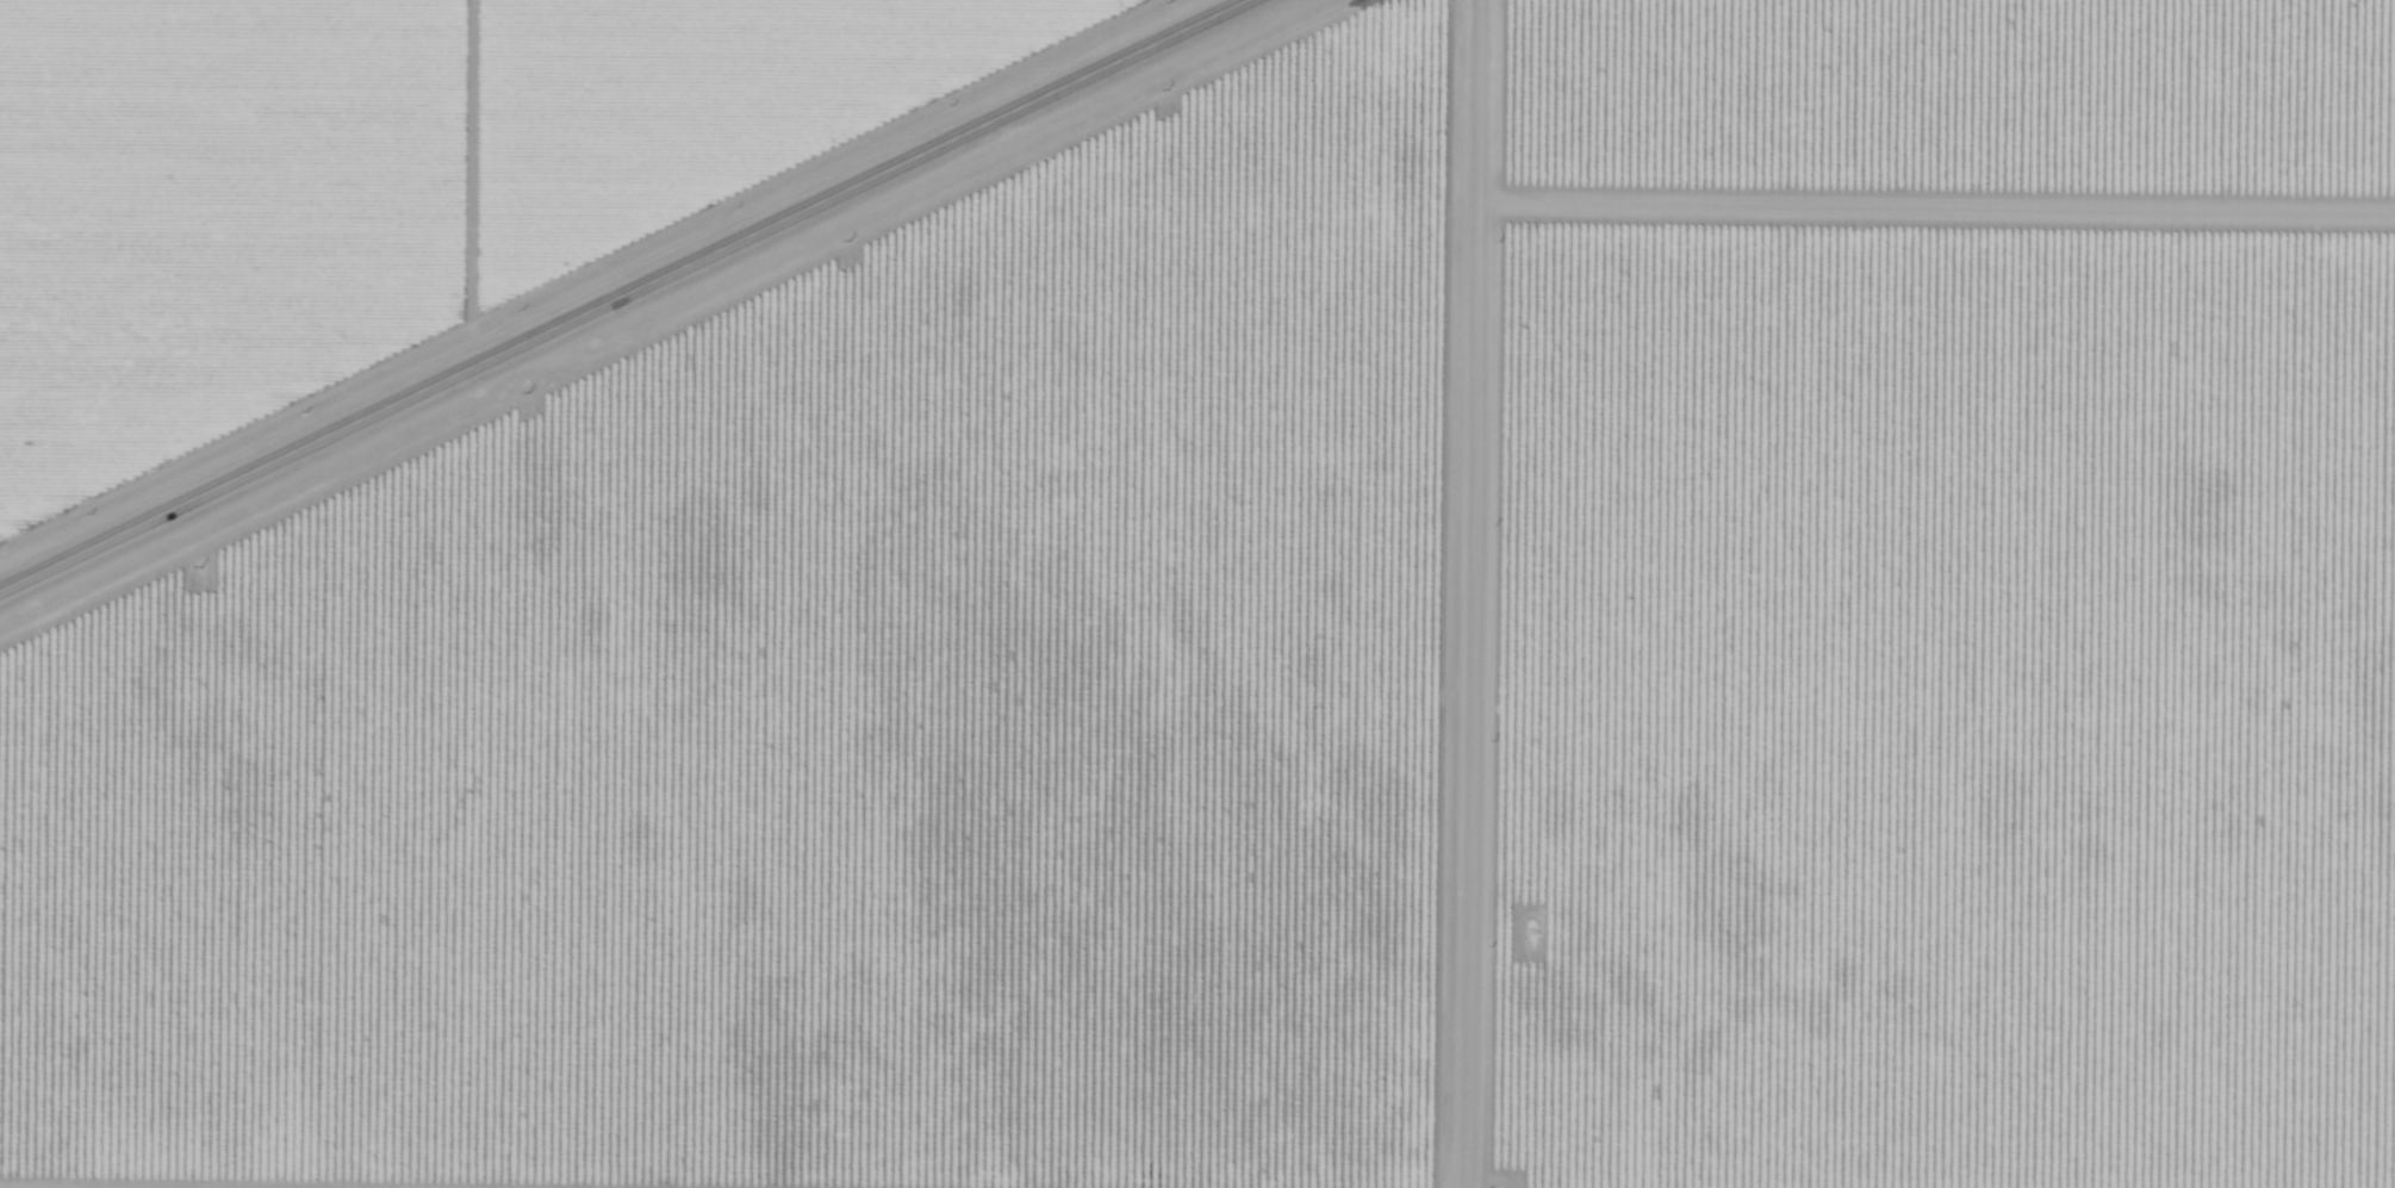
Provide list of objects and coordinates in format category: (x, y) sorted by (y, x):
crop: (365, 184)
road: (626, 282)
road: (1476, 593)

